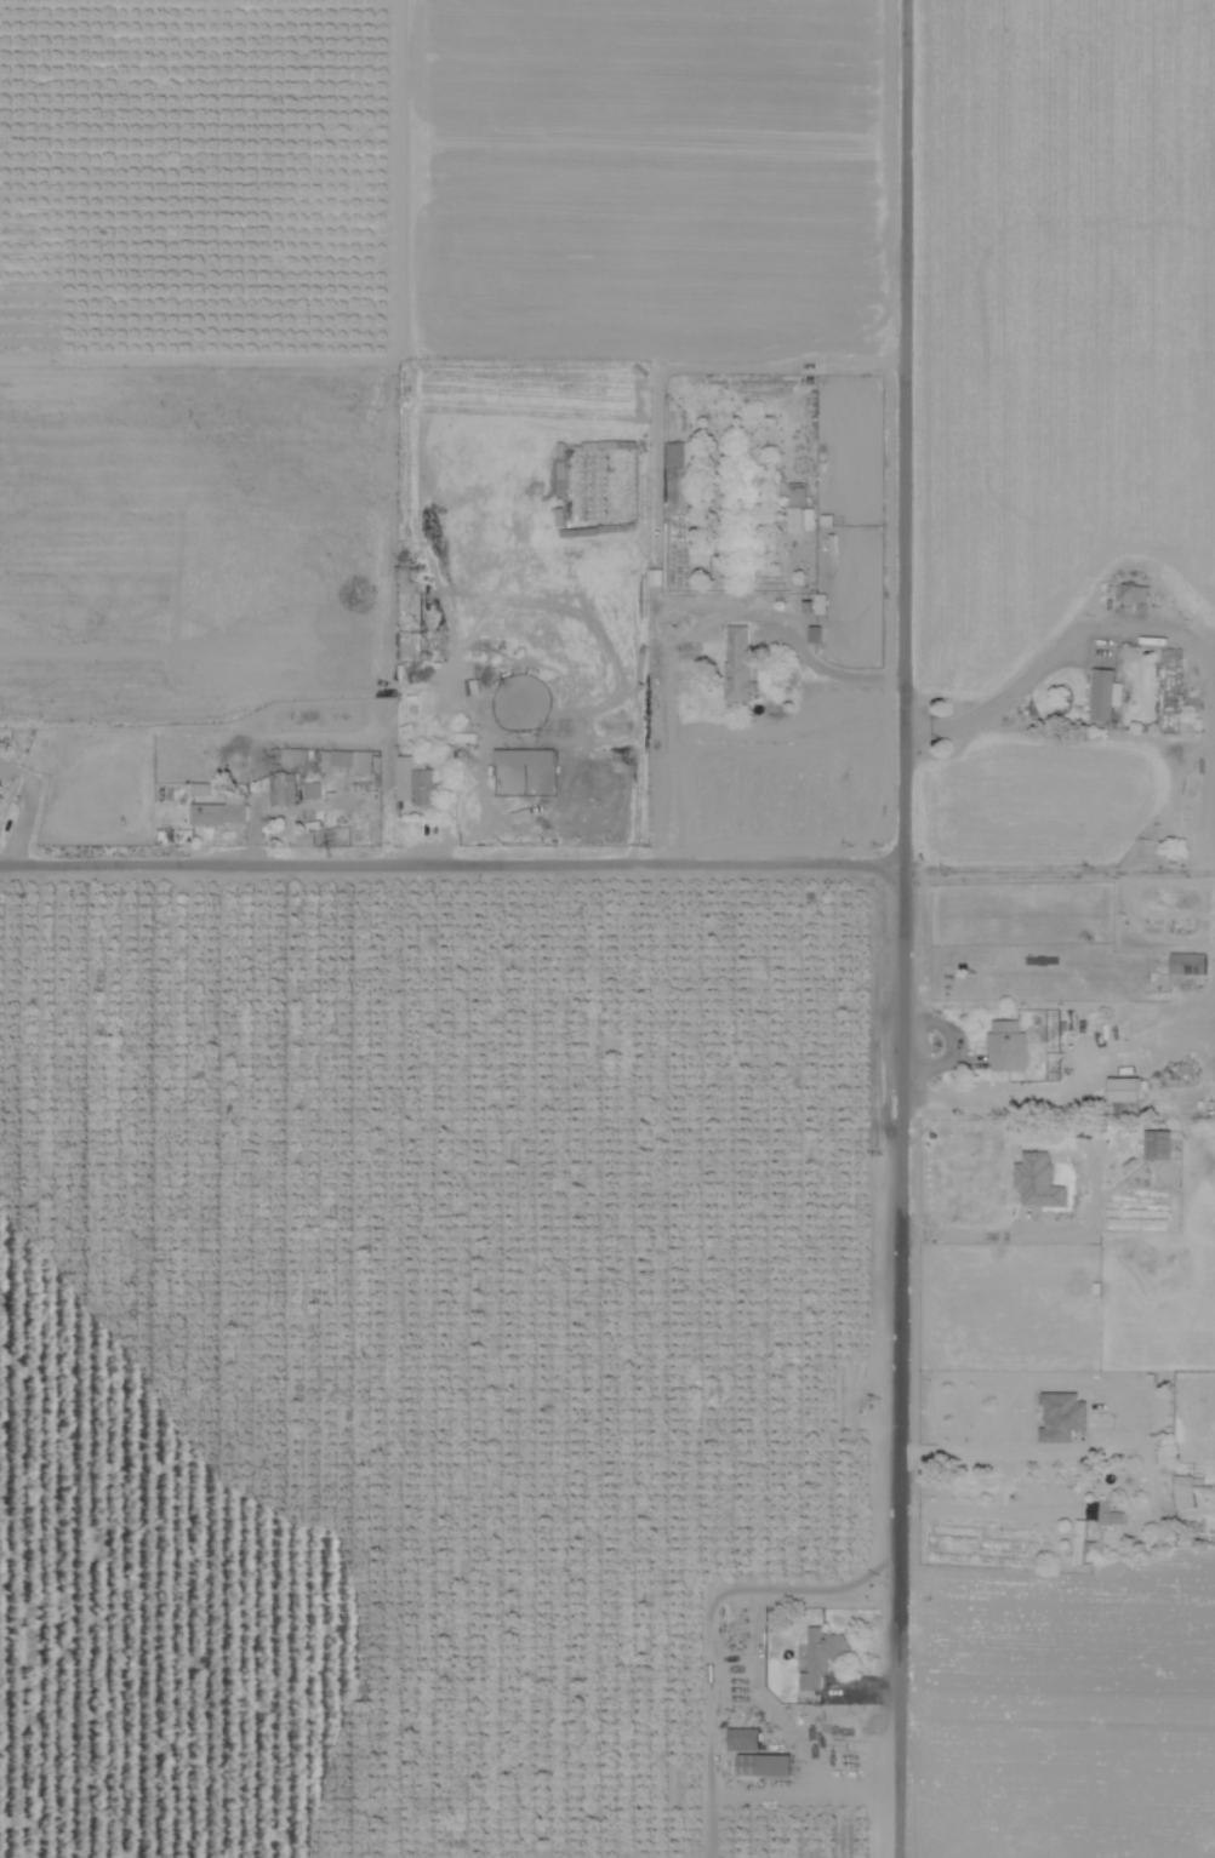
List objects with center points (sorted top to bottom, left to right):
building: (681, 478)
building: (798, 505)
building: (1131, 590)
road: (691, 631)
road: (1060, 652)
building: (736, 661)
building: (346, 755)
building: (365, 755)
building: (521, 759)
building: (417, 778)
building: (284, 785)
building: (204, 787)
building: (314, 788)
building: (2, 789)
building: (222, 811)
road: (1208, 828)
road: (452, 869)
road: (1060, 874)
road: (905, 928)
building: (1011, 1042)
road: (1061, 1082)
building: (1129, 1088)
building: (1164, 1143)
building: (1043, 1178)
crop: (416, 1362)
road: (969, 1450)
building: (1125, 1482)
road: (988, 1510)
building: (1112, 1514)
road: (715, 1602)
building: (821, 1654)
building: (746, 1738)
building: (768, 1765)
road: (811, 1797)
road: (712, 1828)

